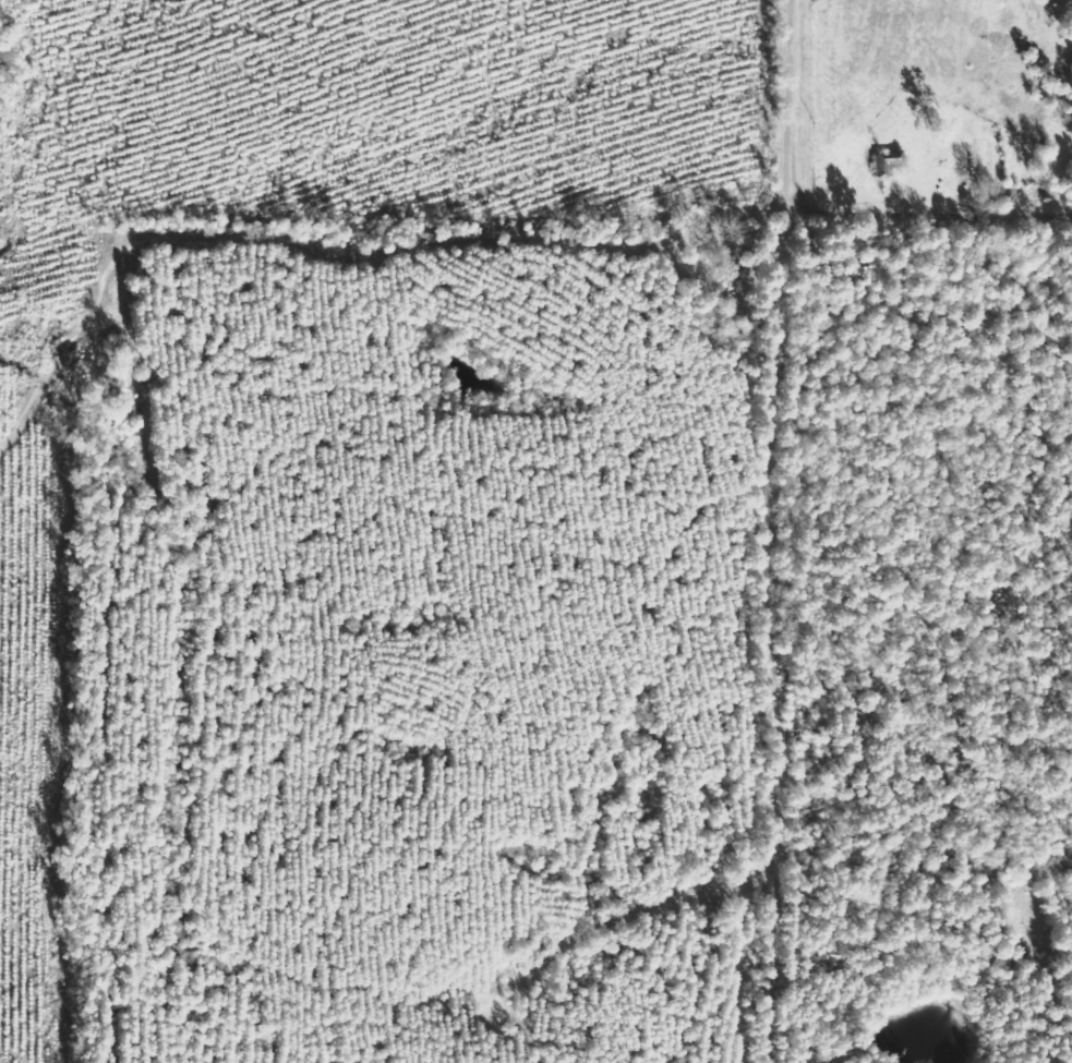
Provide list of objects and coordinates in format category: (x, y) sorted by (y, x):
road: (800, 140)
road: (800, 705)

